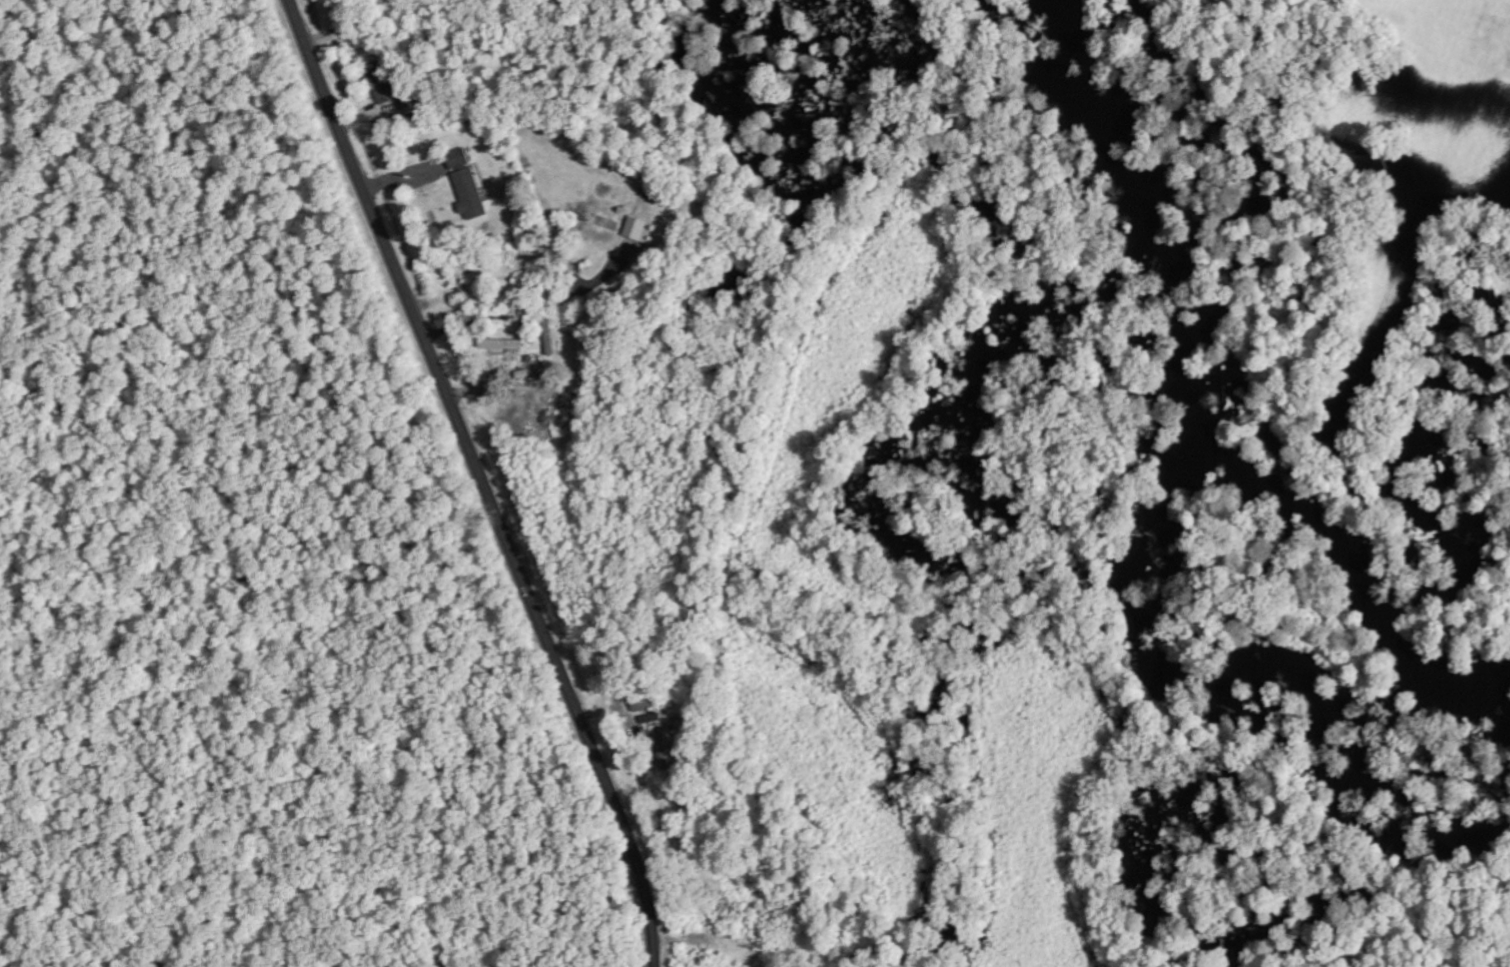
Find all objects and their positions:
building: (383, 81)
building: (466, 185)
building: (639, 230)
building: (503, 344)
road: (484, 480)
river: (1131, 564)
building: (667, 752)

